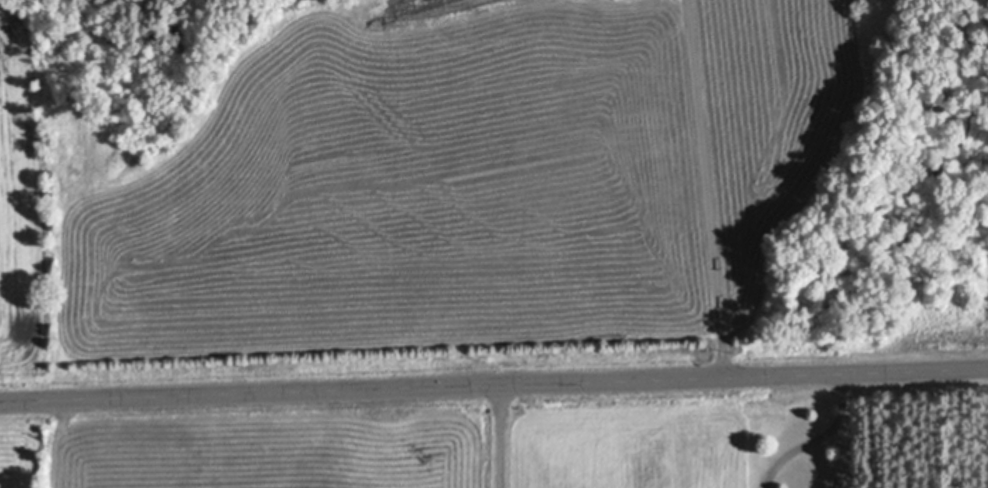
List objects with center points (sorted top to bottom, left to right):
road: (705, 187)
road: (493, 383)
road: (502, 435)
road: (819, 437)

